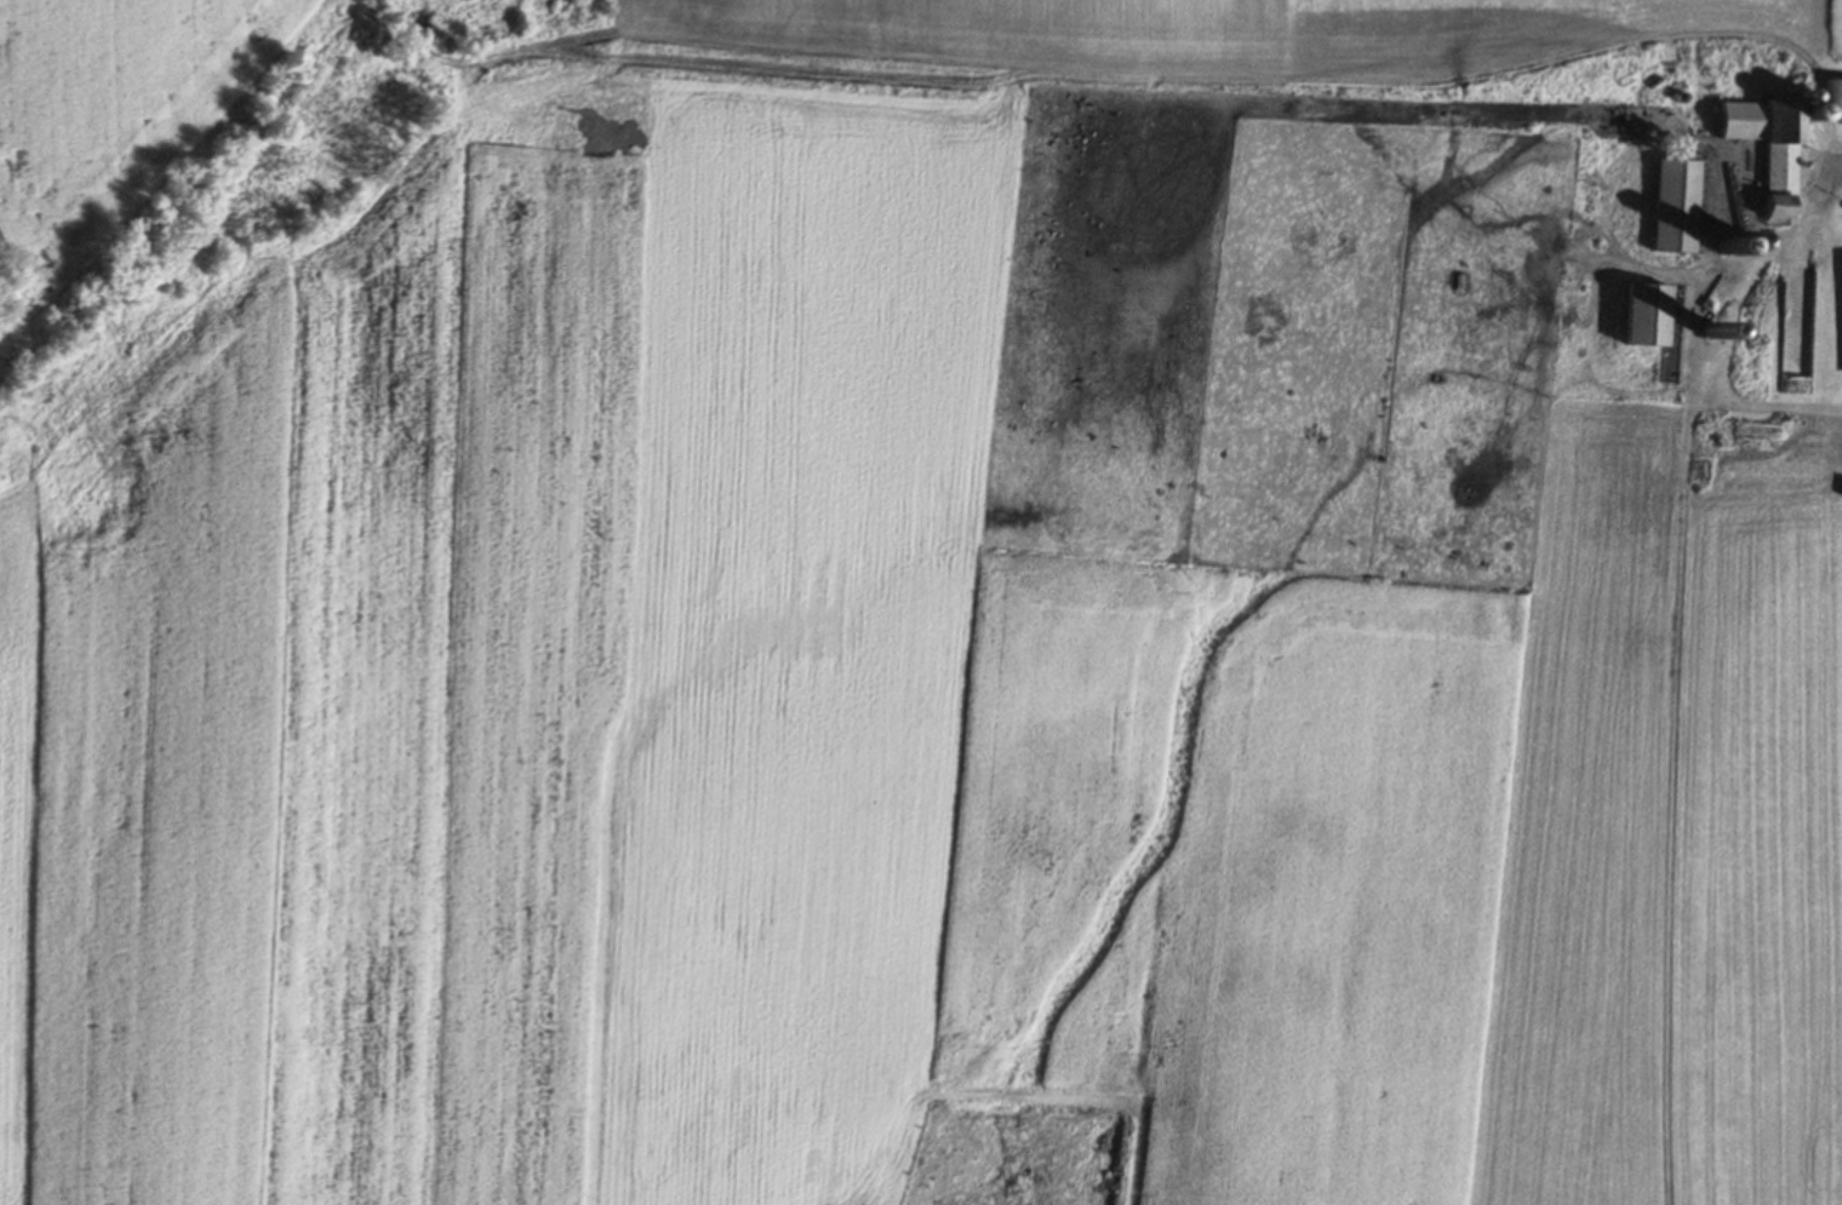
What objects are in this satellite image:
building: (1835, 101)
building: (1769, 147)
road: (1841, 163)
building: (1670, 206)

